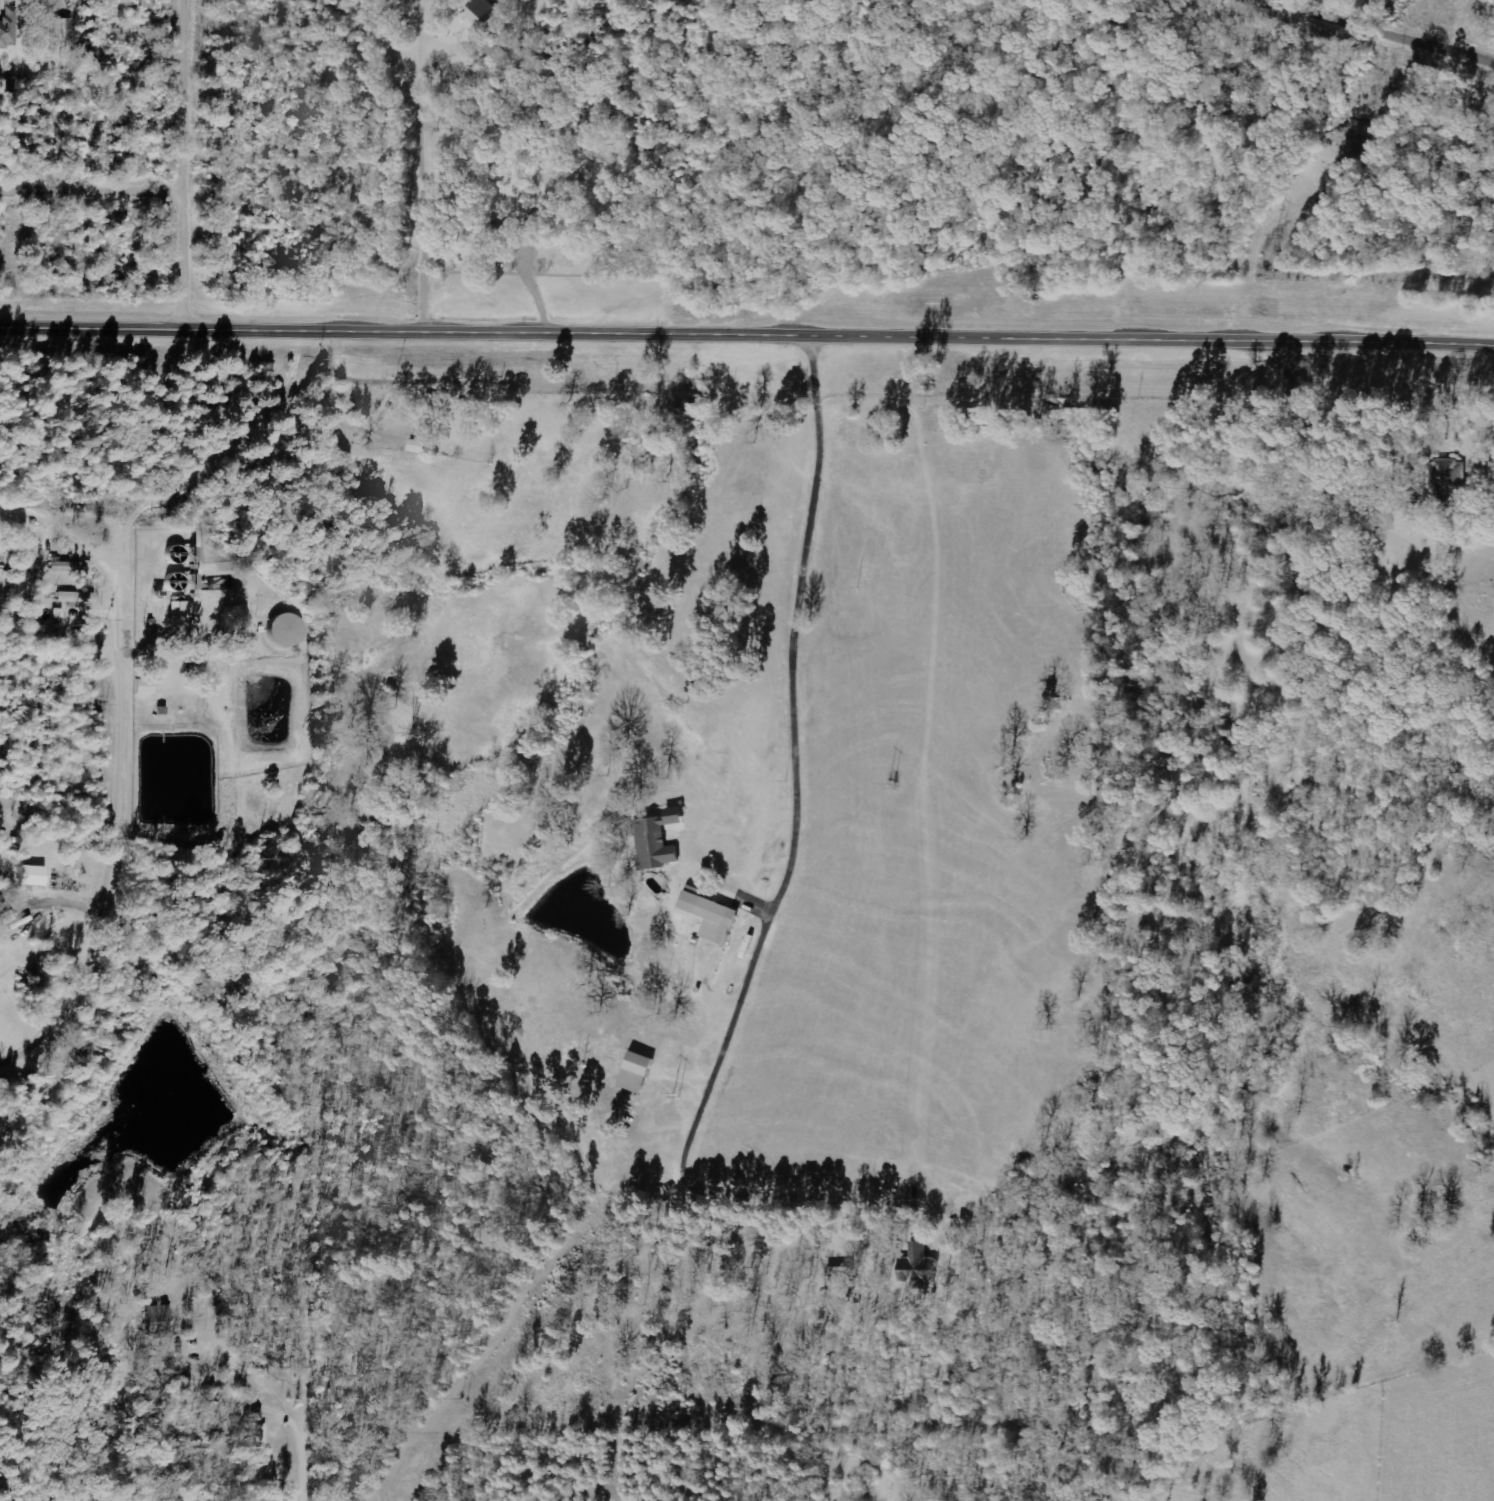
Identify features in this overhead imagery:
building: (481, 15)
building: (65, 28)
building: (5, 34)
road: (1388, 34)
road: (183, 166)
road: (421, 167)
road: (91, 193)
road: (884, 227)
power tower: (1275, 239)
road: (986, 279)
power tower: (1272, 280)
road: (1359, 282)
road: (747, 331)
power tower: (1184, 402)
building: (419, 447)
building: (1448, 480)
power tower: (1088, 509)
road: (72, 543)
building: (64, 567)
building: (76, 600)
building: (180, 616)
road: (790, 625)
building: (284, 631)
building: (143, 687)
power tower: (898, 784)
building: (656, 845)
road: (111, 857)
building: (31, 875)
building: (710, 915)
building: (636, 1072)
power tower: (677, 1097)
building: (838, 1281)
building: (157, 1321)
power tower: (466, 1400)

